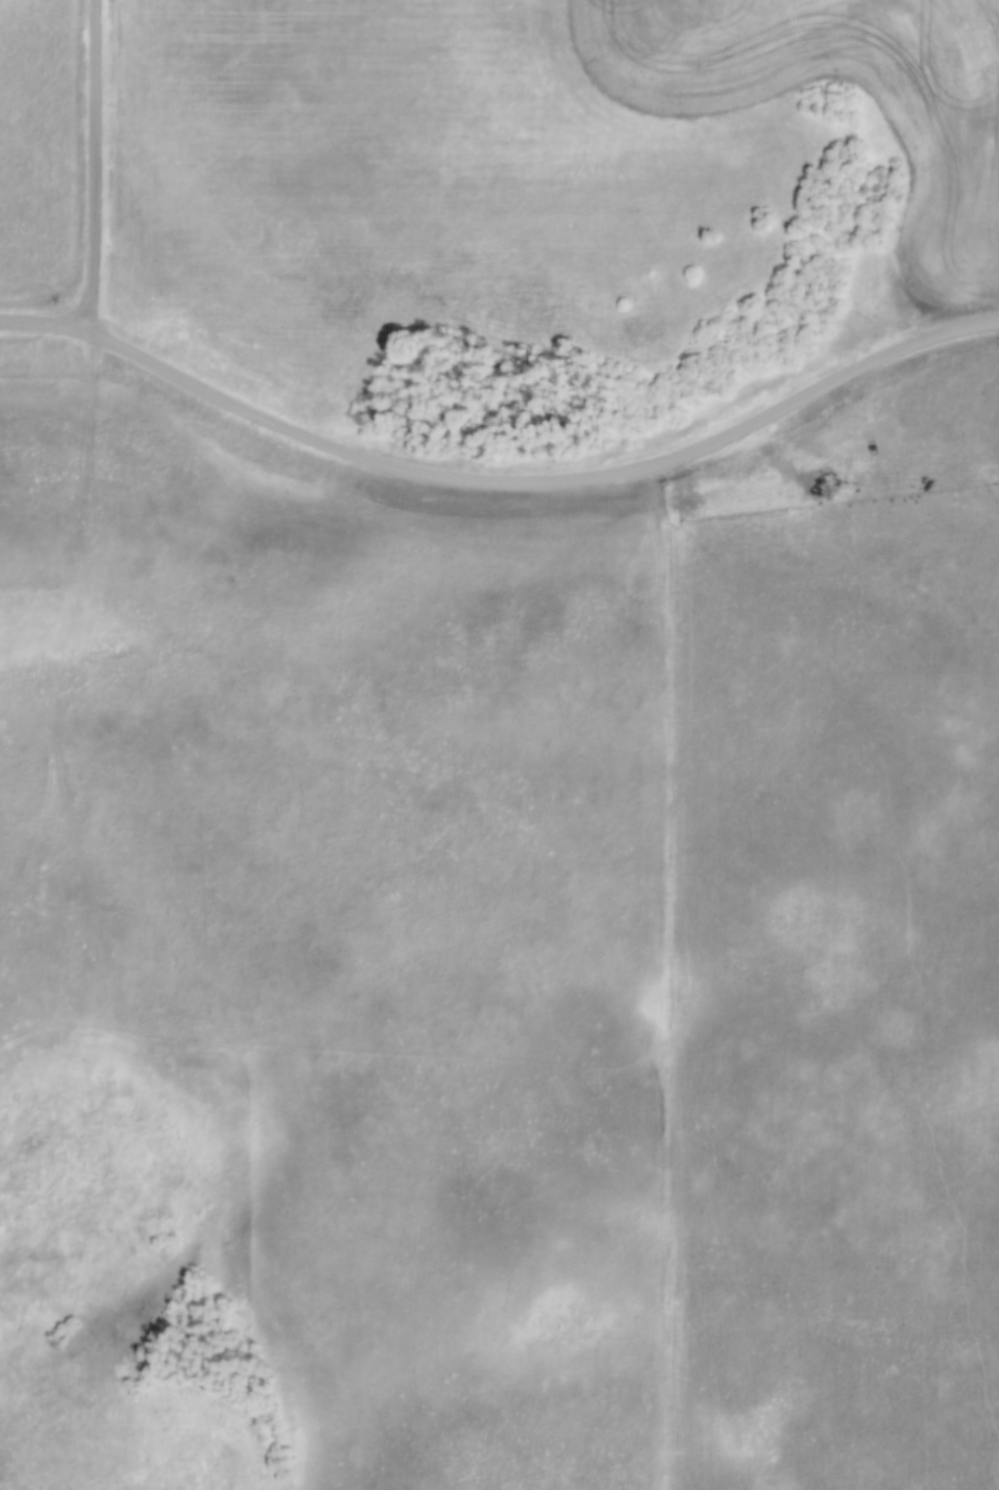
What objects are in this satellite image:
road: (91, 164)
road: (499, 479)

